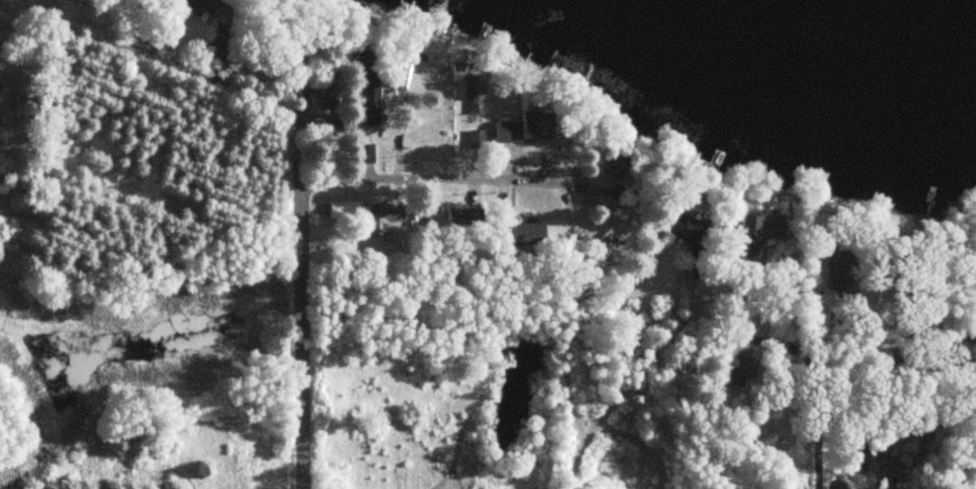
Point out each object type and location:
building: (206, 3)
building: (475, 90)
building: (330, 93)
building: (371, 103)
building: (528, 127)
building: (471, 138)
building: (617, 164)
road: (435, 176)
building: (342, 210)
building: (471, 215)
building: (381, 218)
building: (693, 230)
building: (528, 234)
building: (763, 234)
road: (224, 256)
building: (849, 266)
road: (672, 290)
road: (303, 334)
road: (566, 335)
building: (750, 368)
road: (818, 388)

